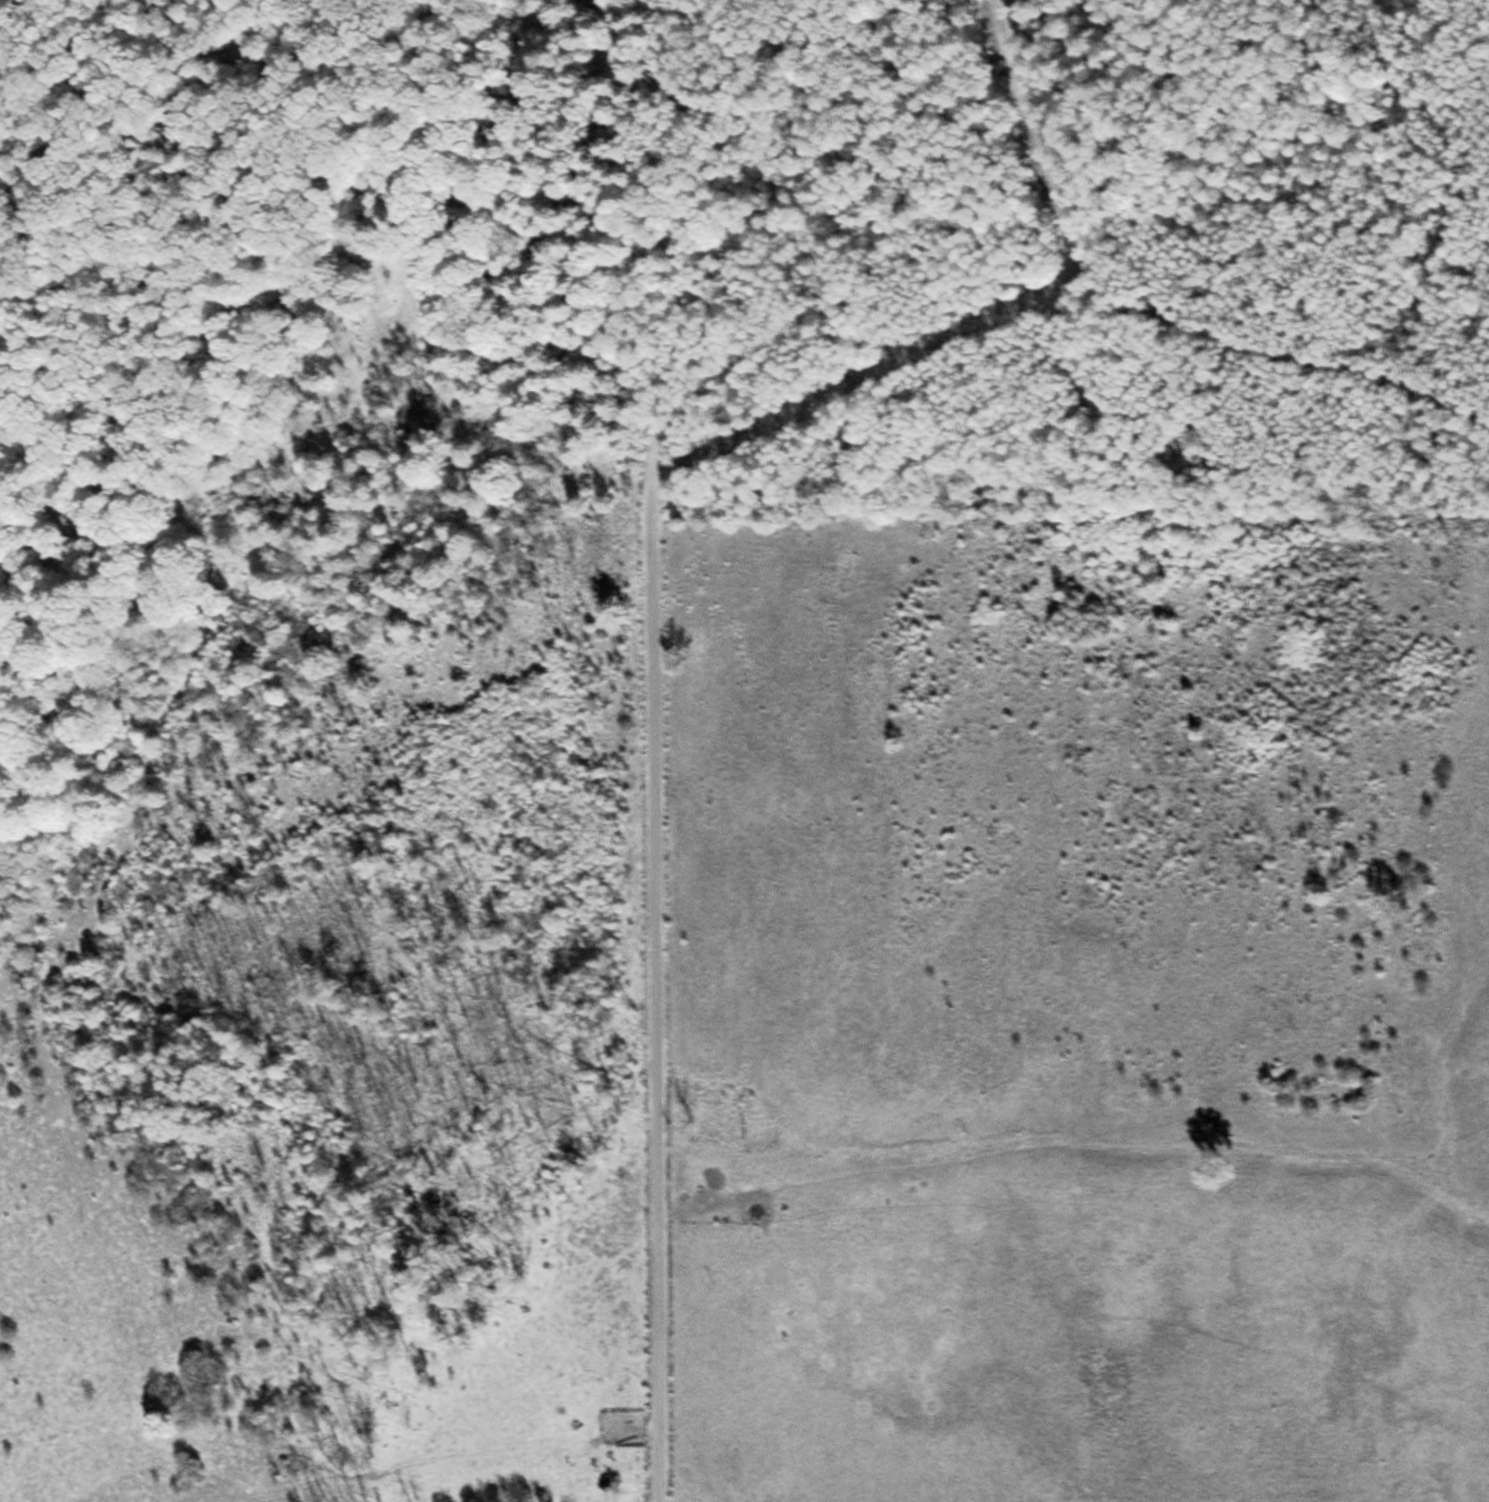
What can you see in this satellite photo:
road: (659, 585)
road: (656, 1439)

